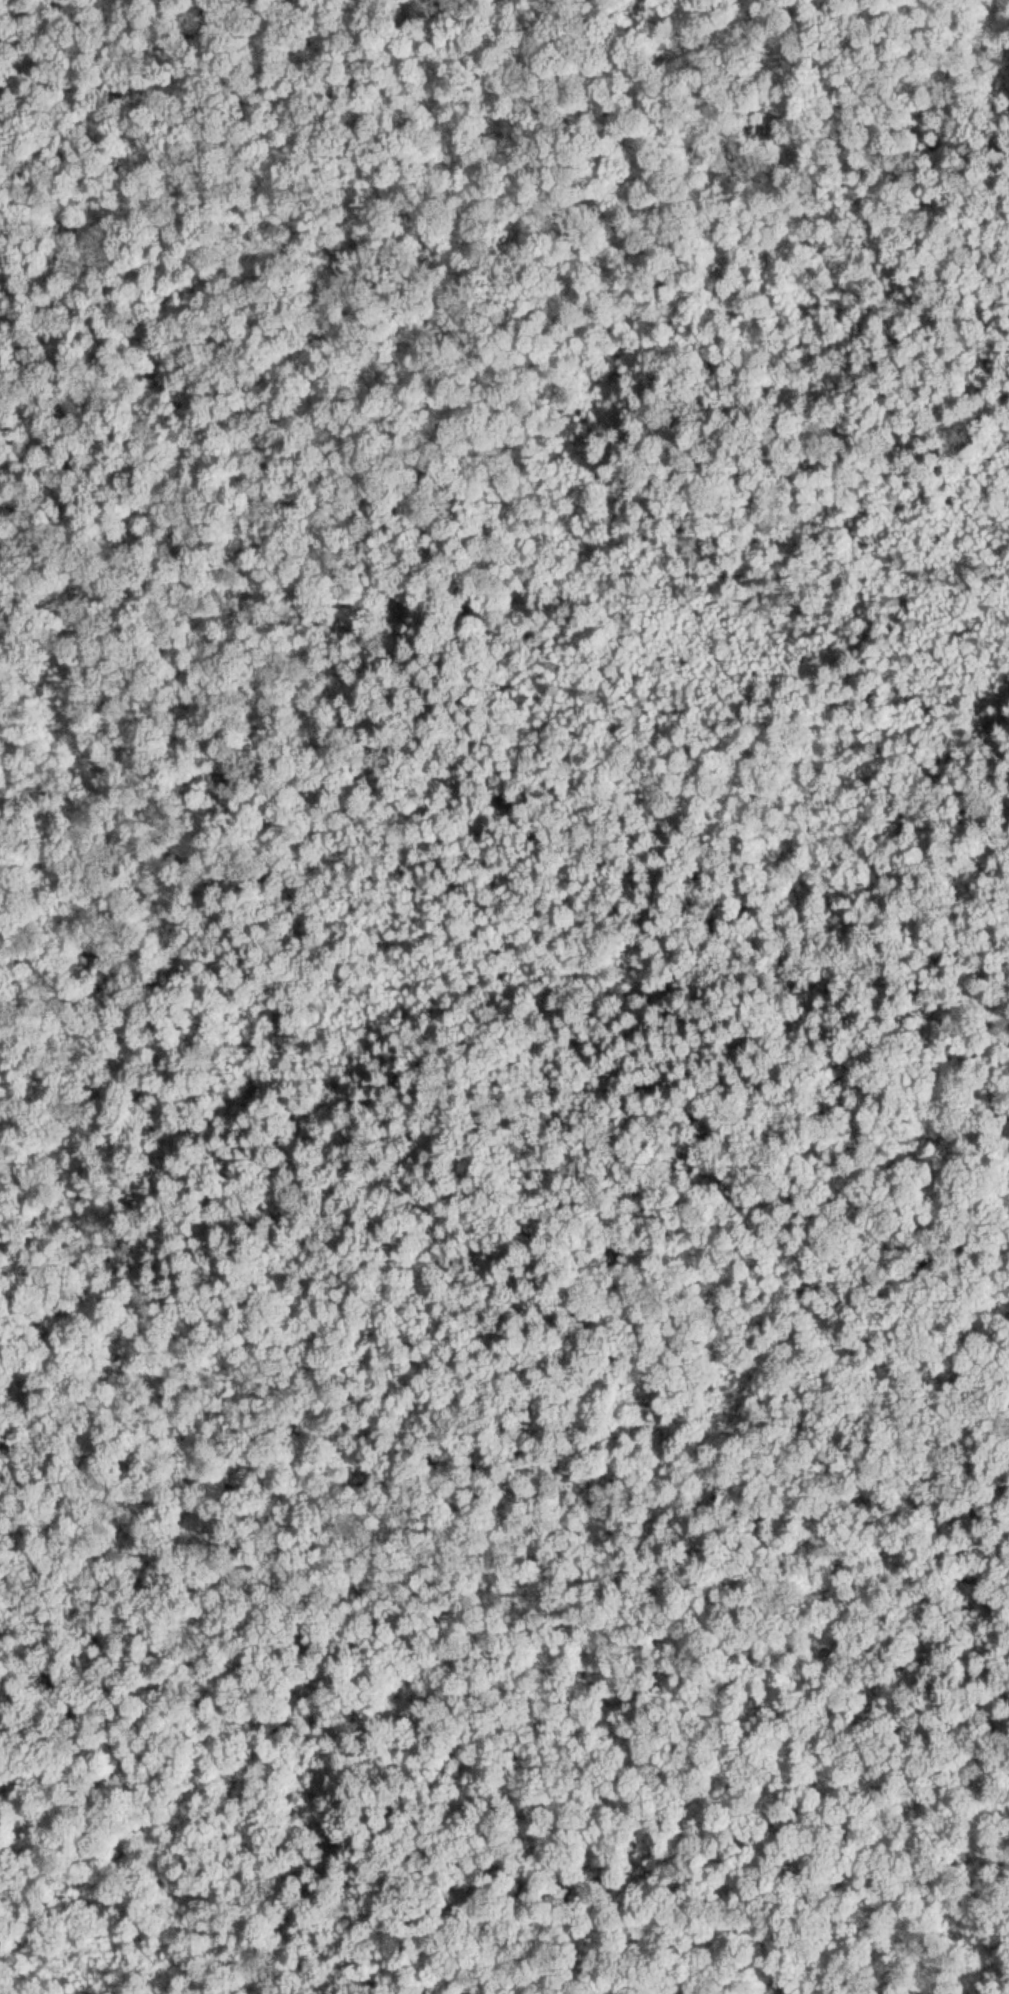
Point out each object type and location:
road: (860, 66)

